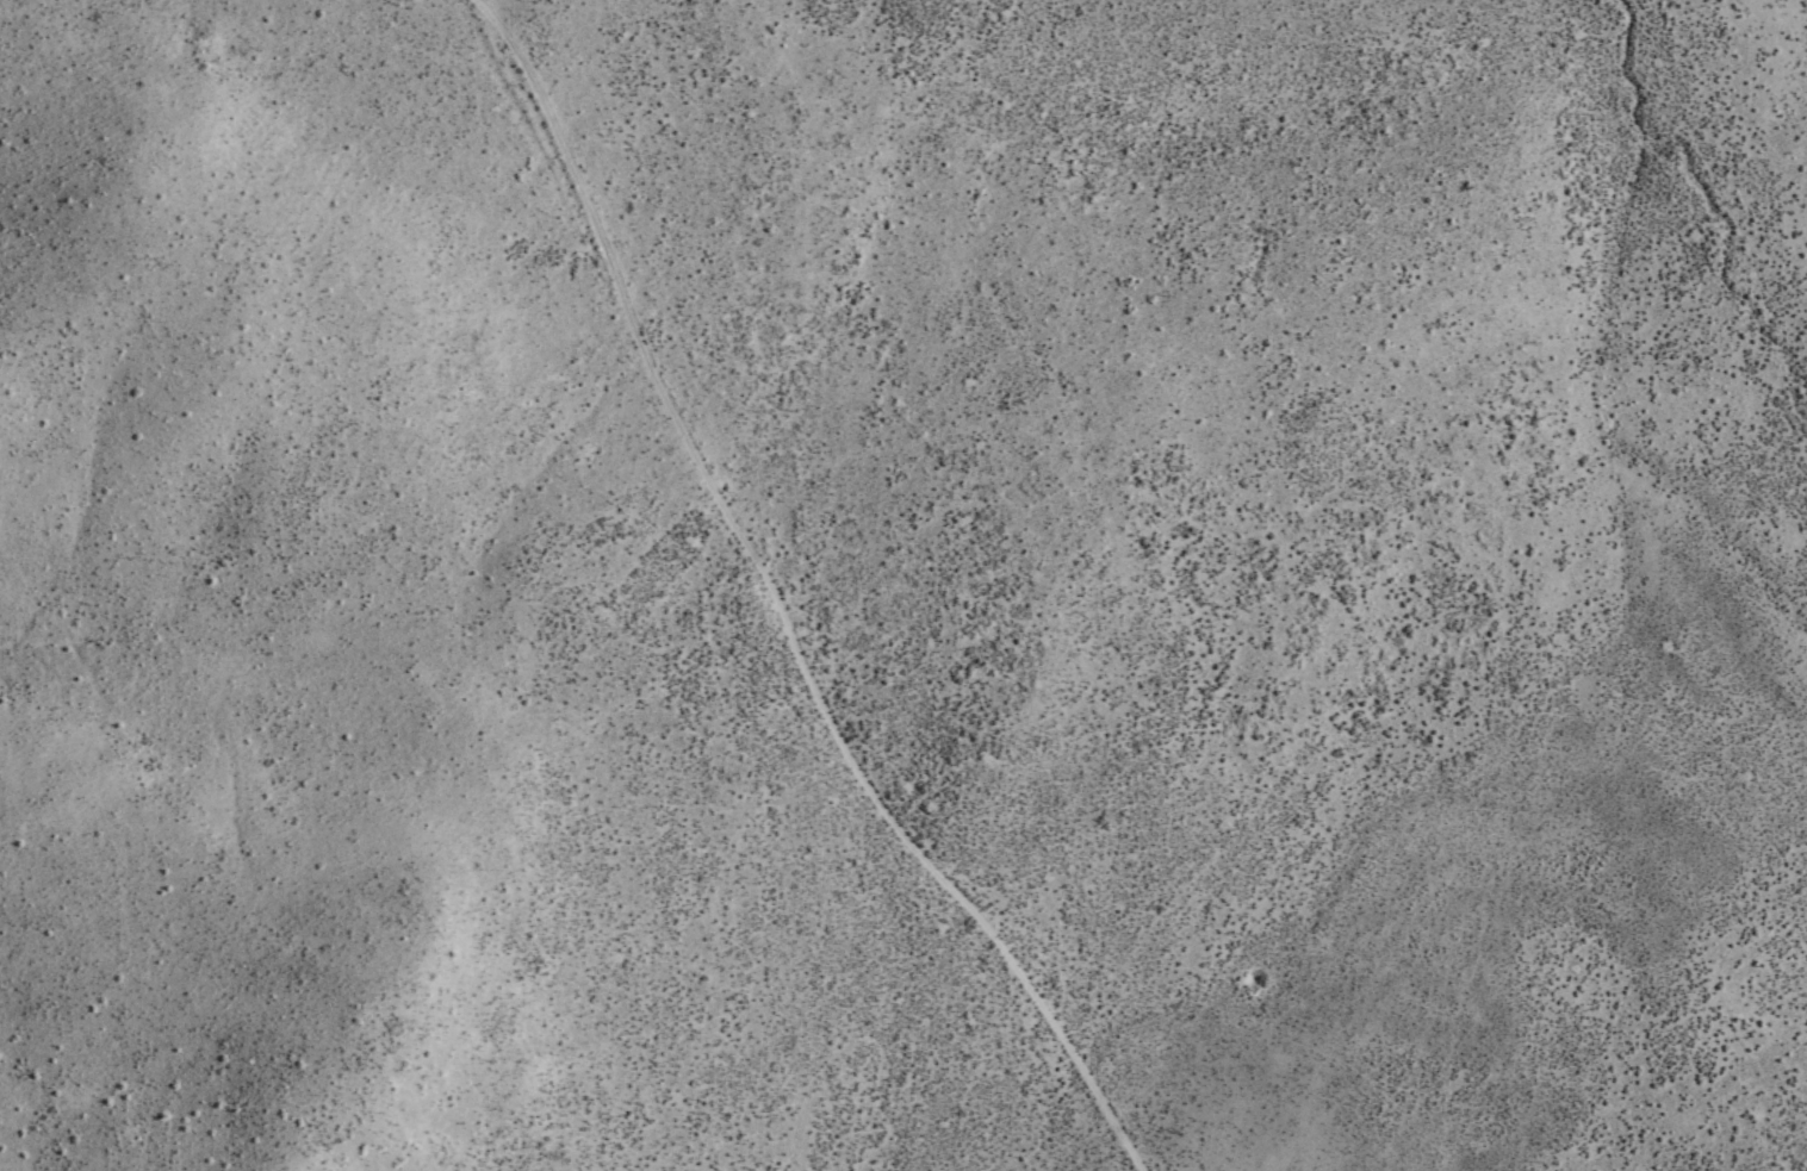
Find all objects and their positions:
crop: (1803, 32)
crop: (1740, 366)

